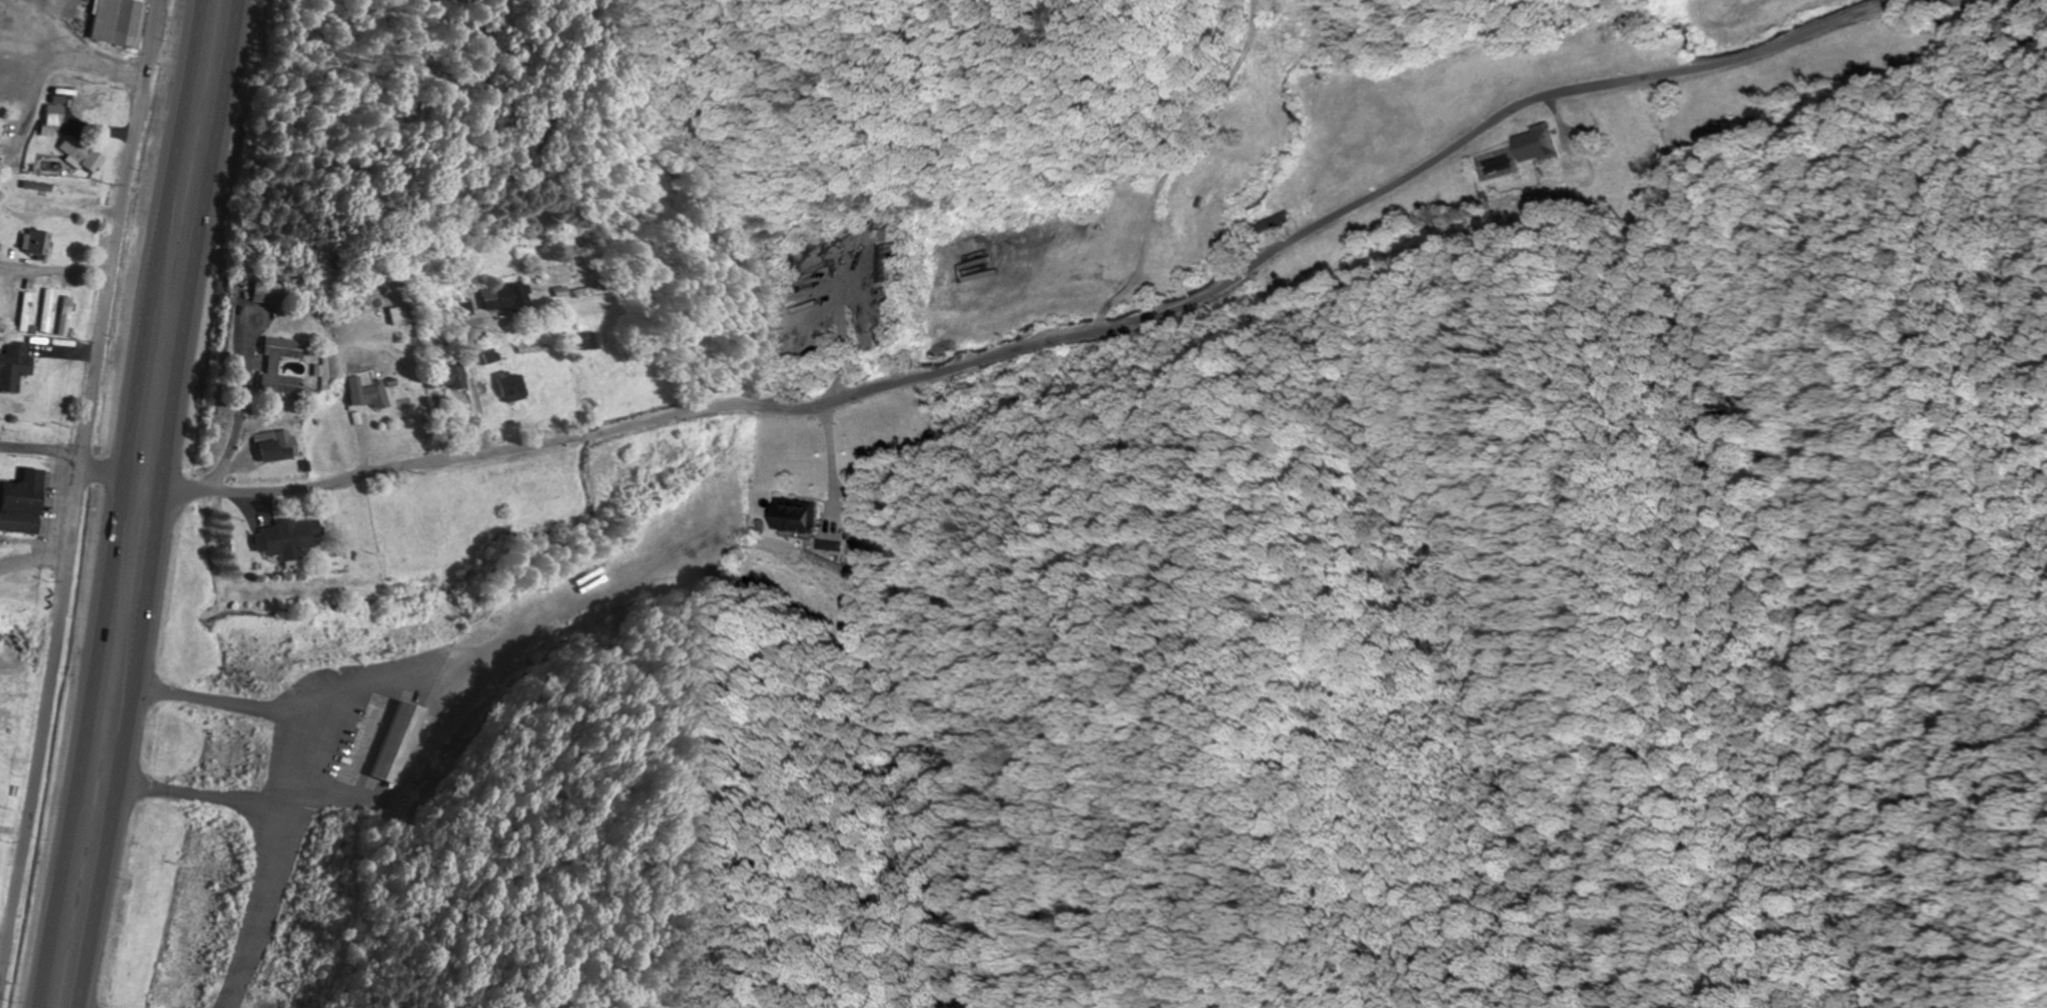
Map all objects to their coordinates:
building: (117, 23)
building: (1280, 31)
road: (68, 55)
building: (86, 98)
building: (1538, 145)
building: (84, 155)
building: (83, 197)
building: (1183, 223)
building: (1205, 237)
building: (538, 242)
building: (37, 243)
building: (1162, 246)
building: (878, 255)
road: (55, 271)
building: (273, 294)
building: (506, 297)
building: (6, 307)
building: (49, 311)
building: (27, 313)
building: (68, 317)
building: (590, 342)
road: (1050, 348)
road: (872, 359)
building: (17, 366)
building: (277, 368)
building: (453, 378)
building: (510, 387)
building: (376, 395)
building: (285, 449)
road: (62, 462)
road: (76, 484)
road: (119, 503)
road: (164, 504)
building: (25, 505)
building: (796, 515)
building: (295, 539)
road: (33, 562)
road: (470, 670)
building: (375, 741)
road: (197, 799)
road: (261, 911)

